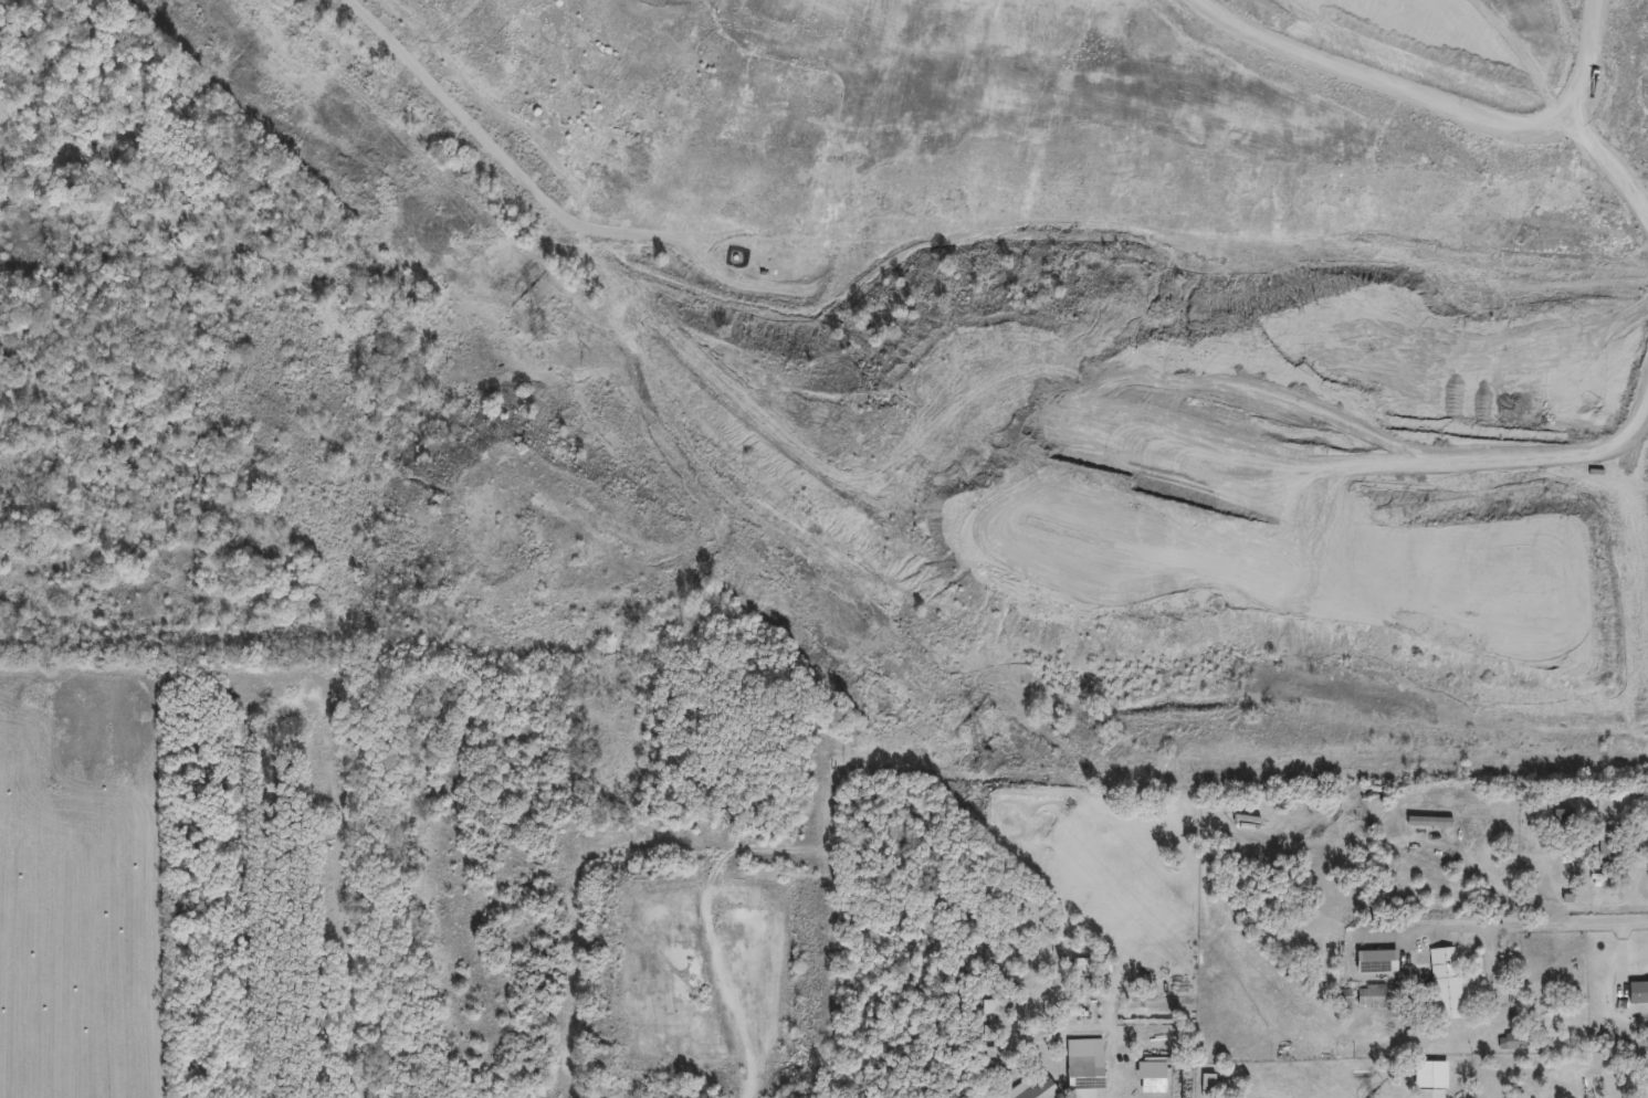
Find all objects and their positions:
power tower: (536, 327)
power tower: (980, 760)
building: (1246, 821)
building: (1562, 821)
building: (1428, 822)
building: (1606, 851)
road: (1635, 880)
road: (1597, 907)
road: (1542, 922)
building: (1444, 984)
building: (1369, 996)
road: (731, 1013)
building: (1510, 1042)
building: (1079, 1077)
building: (1206, 1083)
building: (1592, 1088)
building: (1039, 1090)

